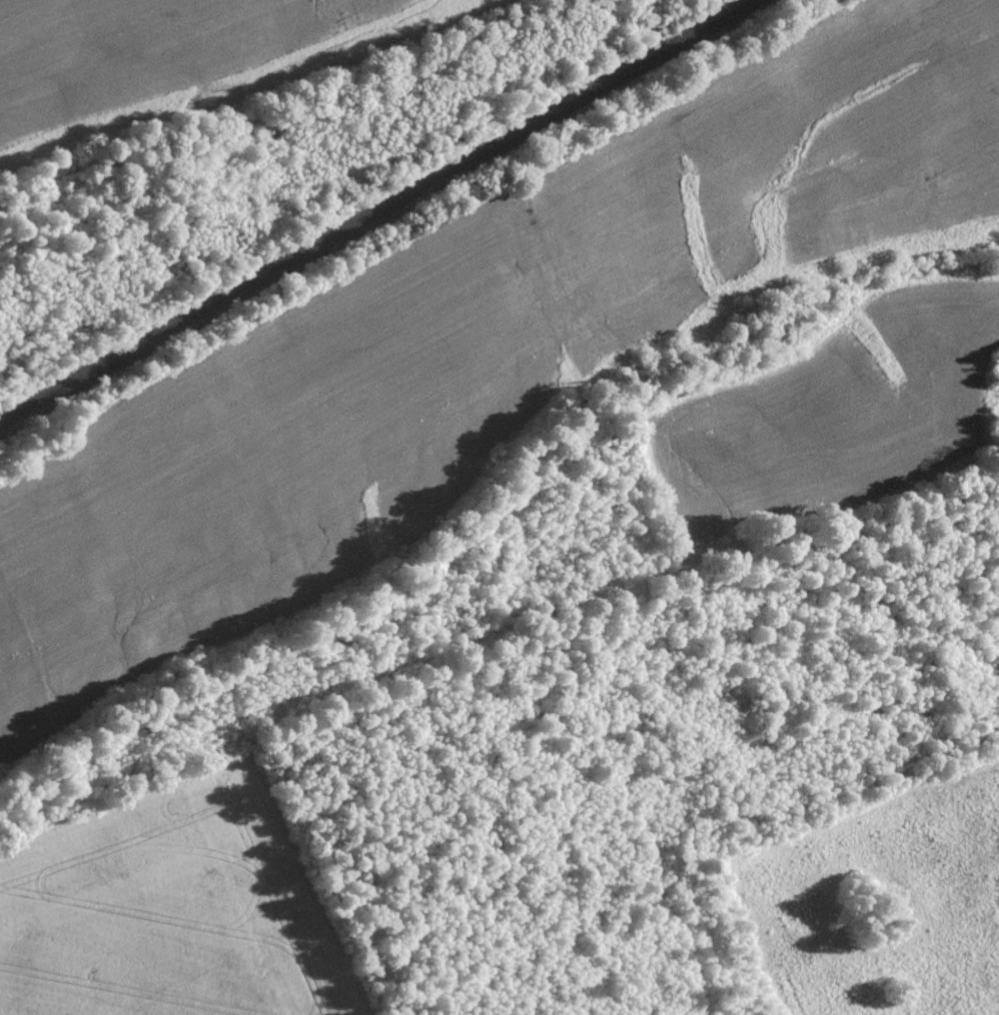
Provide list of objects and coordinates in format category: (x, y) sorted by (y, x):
railway: (378, 211)

